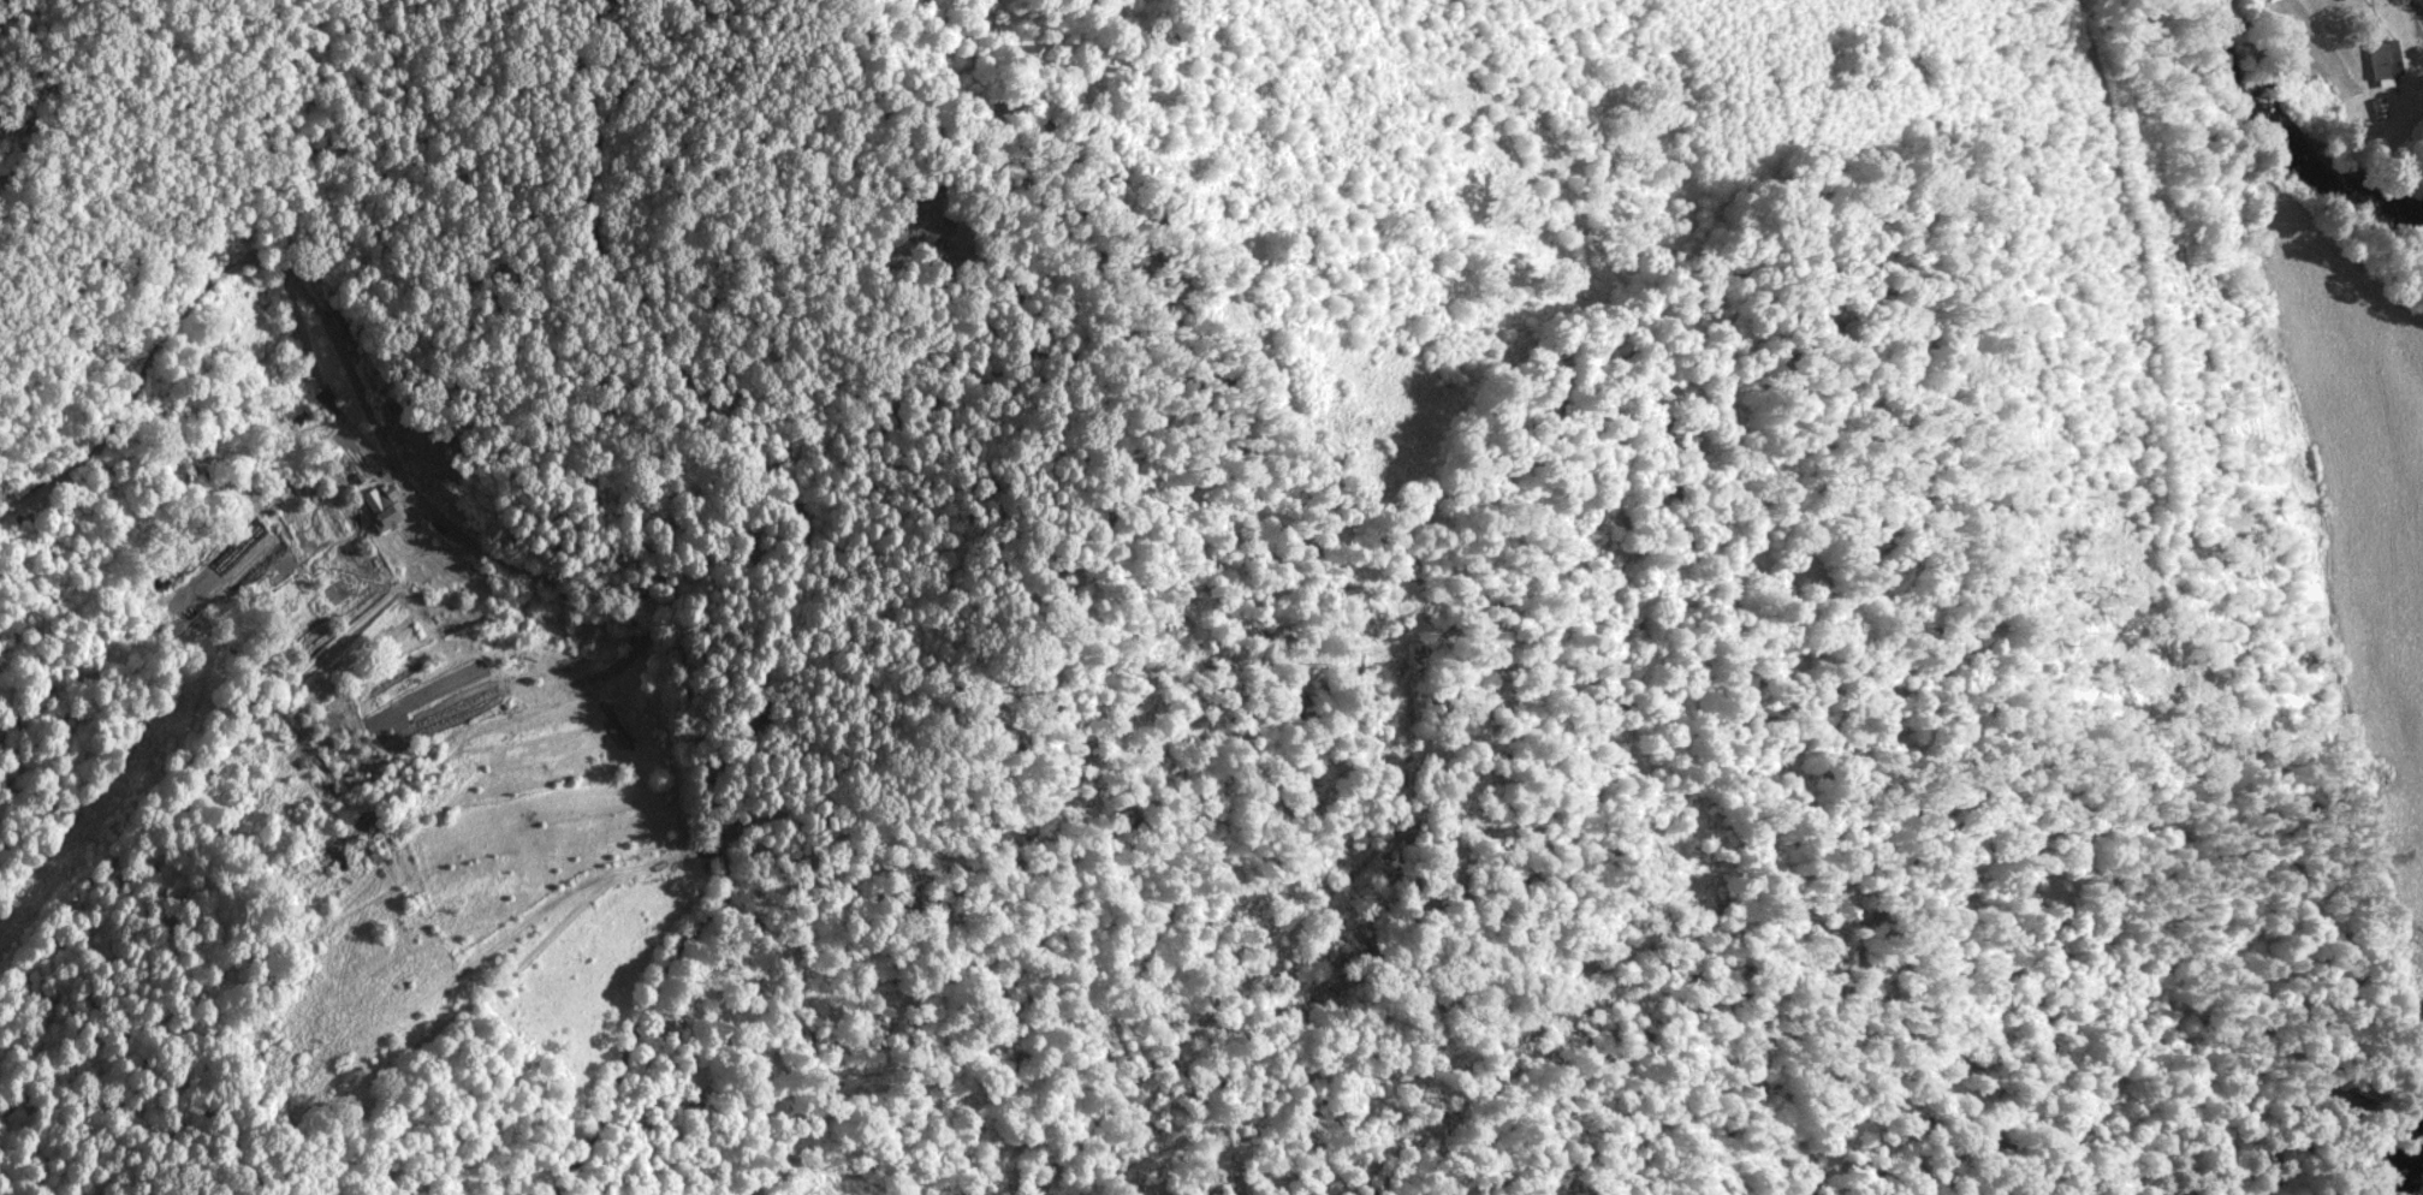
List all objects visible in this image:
building: (2383, 58)
building: (2379, 107)
building: (326, 400)
building: (382, 505)
road: (648, 711)

